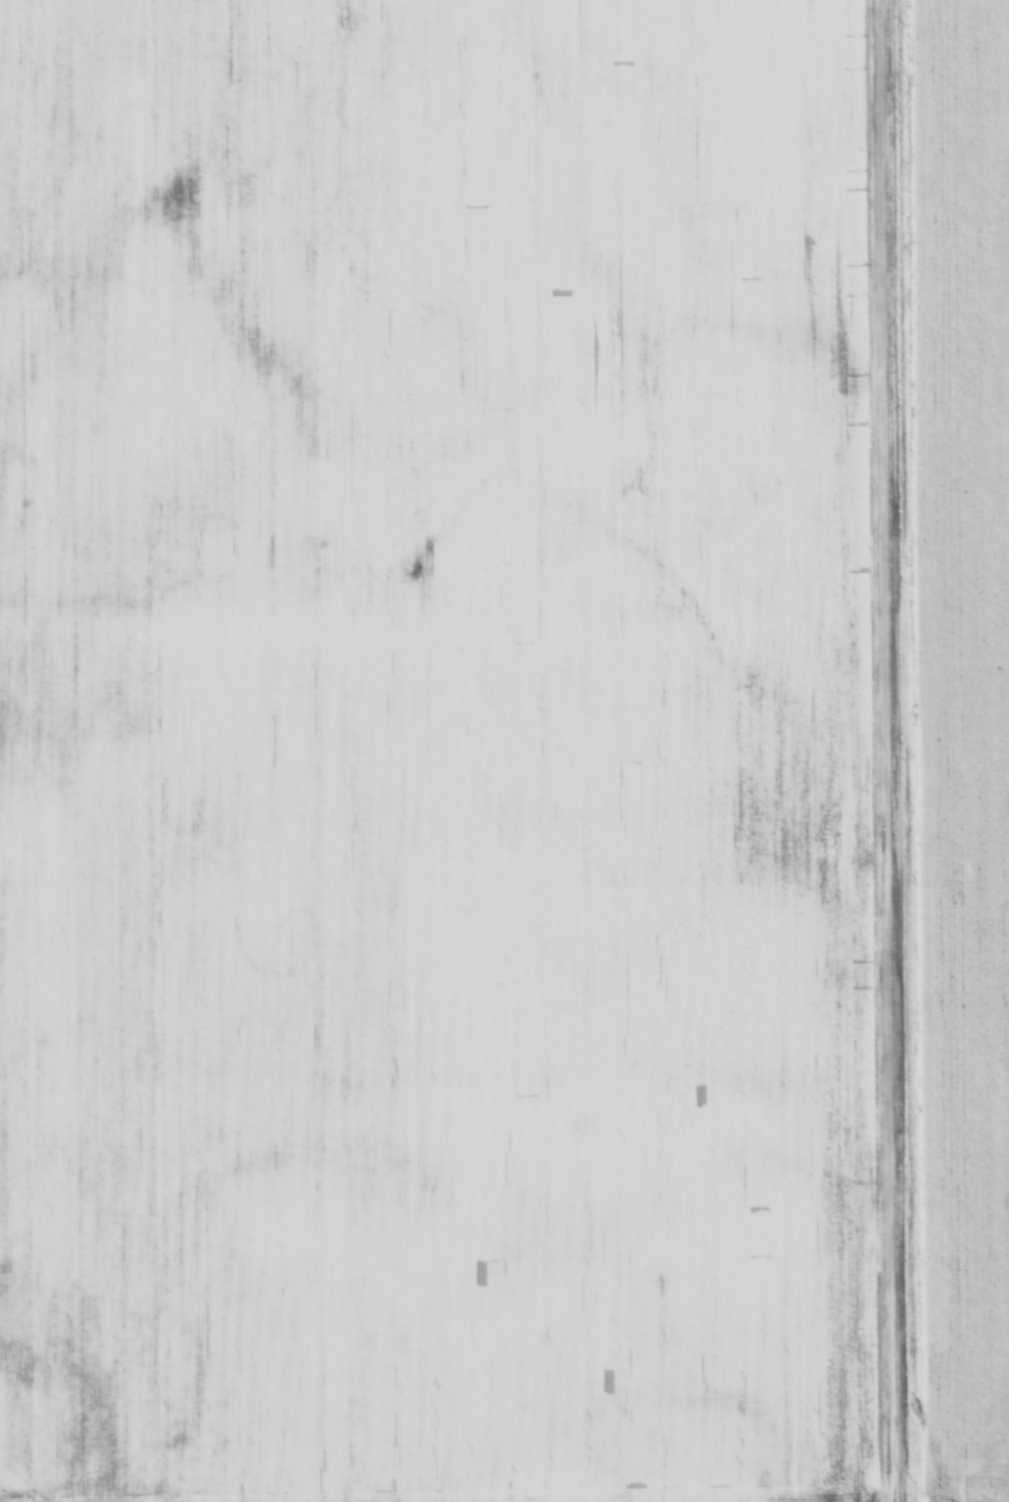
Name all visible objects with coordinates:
road: (892, 751)

